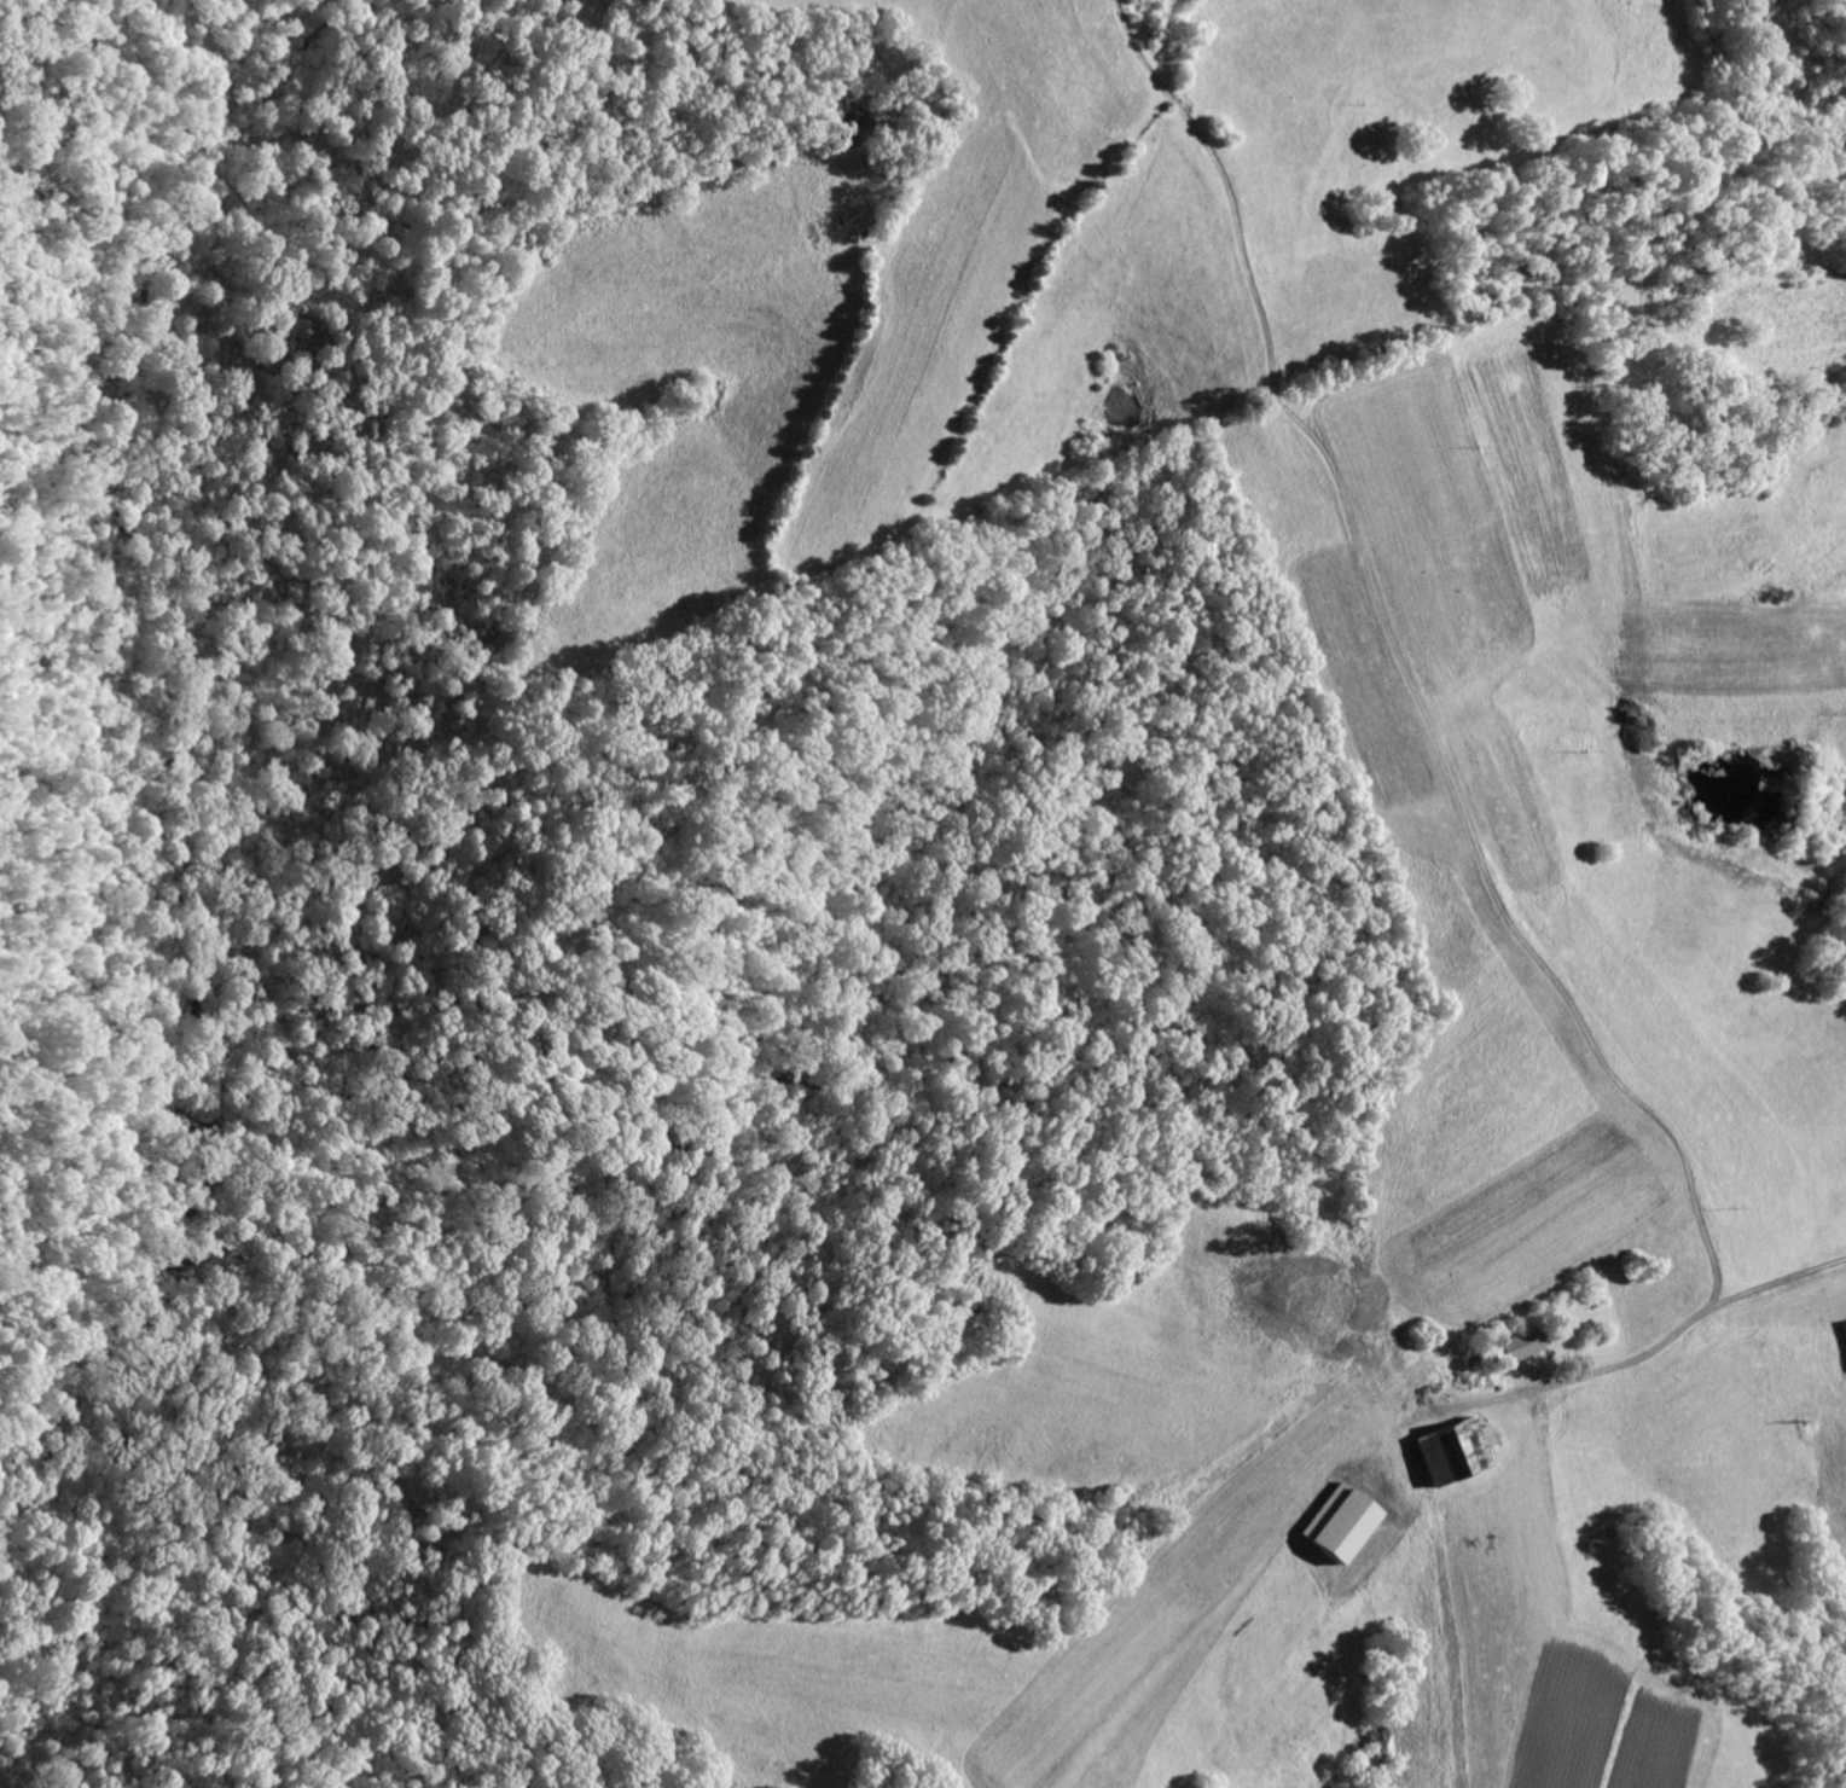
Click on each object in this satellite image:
building: (1845, 1327)
building: (1522, 1342)
road: (1757, 1389)
building: (1452, 1450)
building: (1339, 1522)

